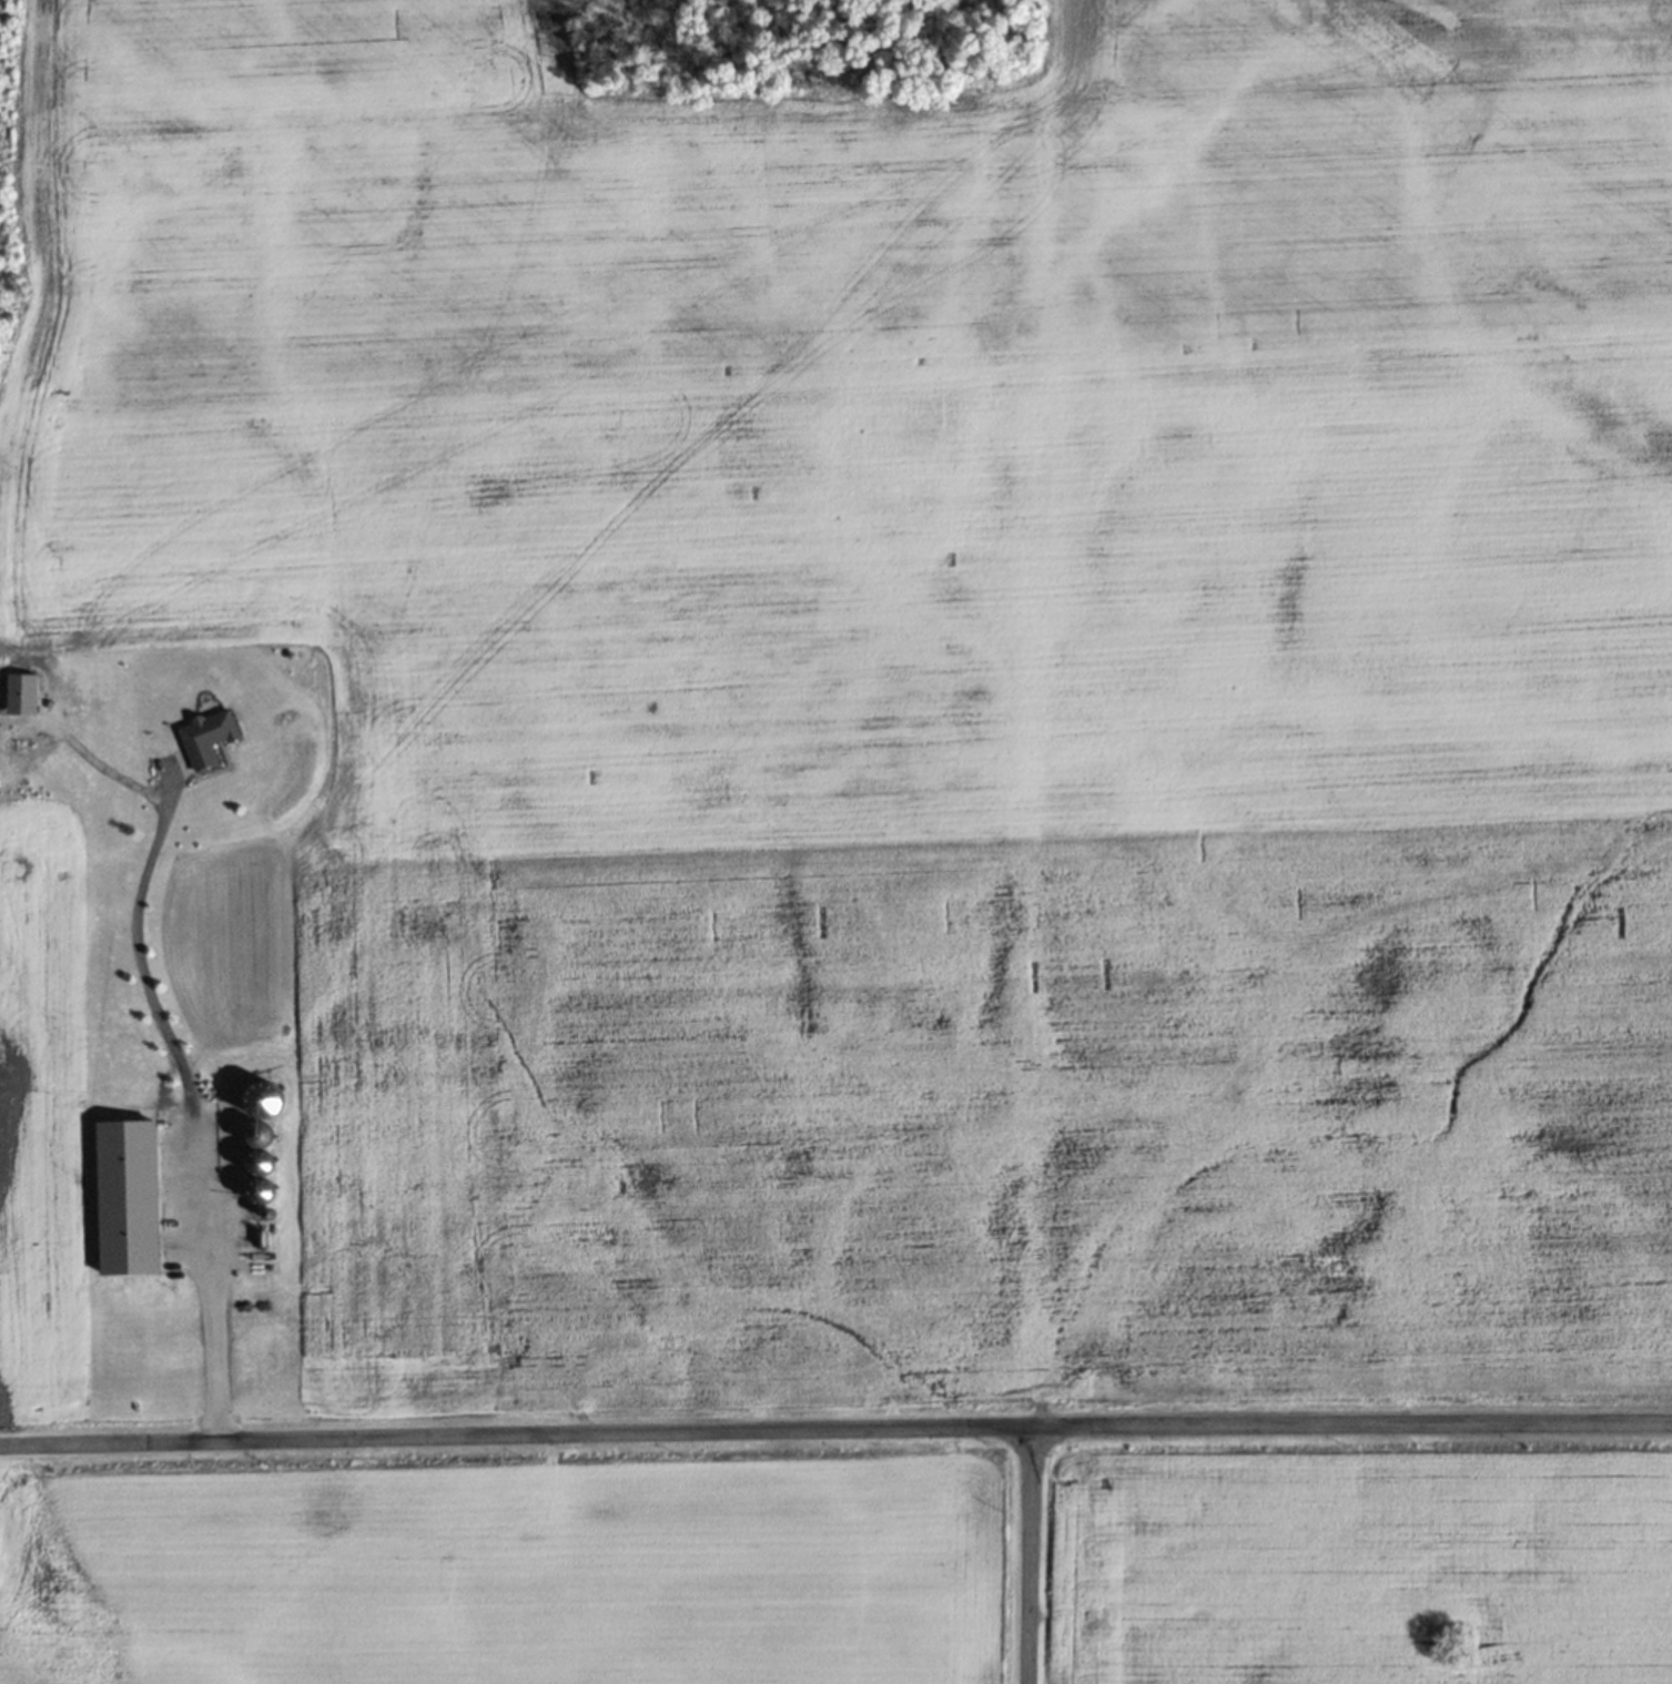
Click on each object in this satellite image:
road: (140, 961)
road: (210, 1284)
road: (835, 1427)
road: (1026, 1554)
crop: (1355, 1558)

